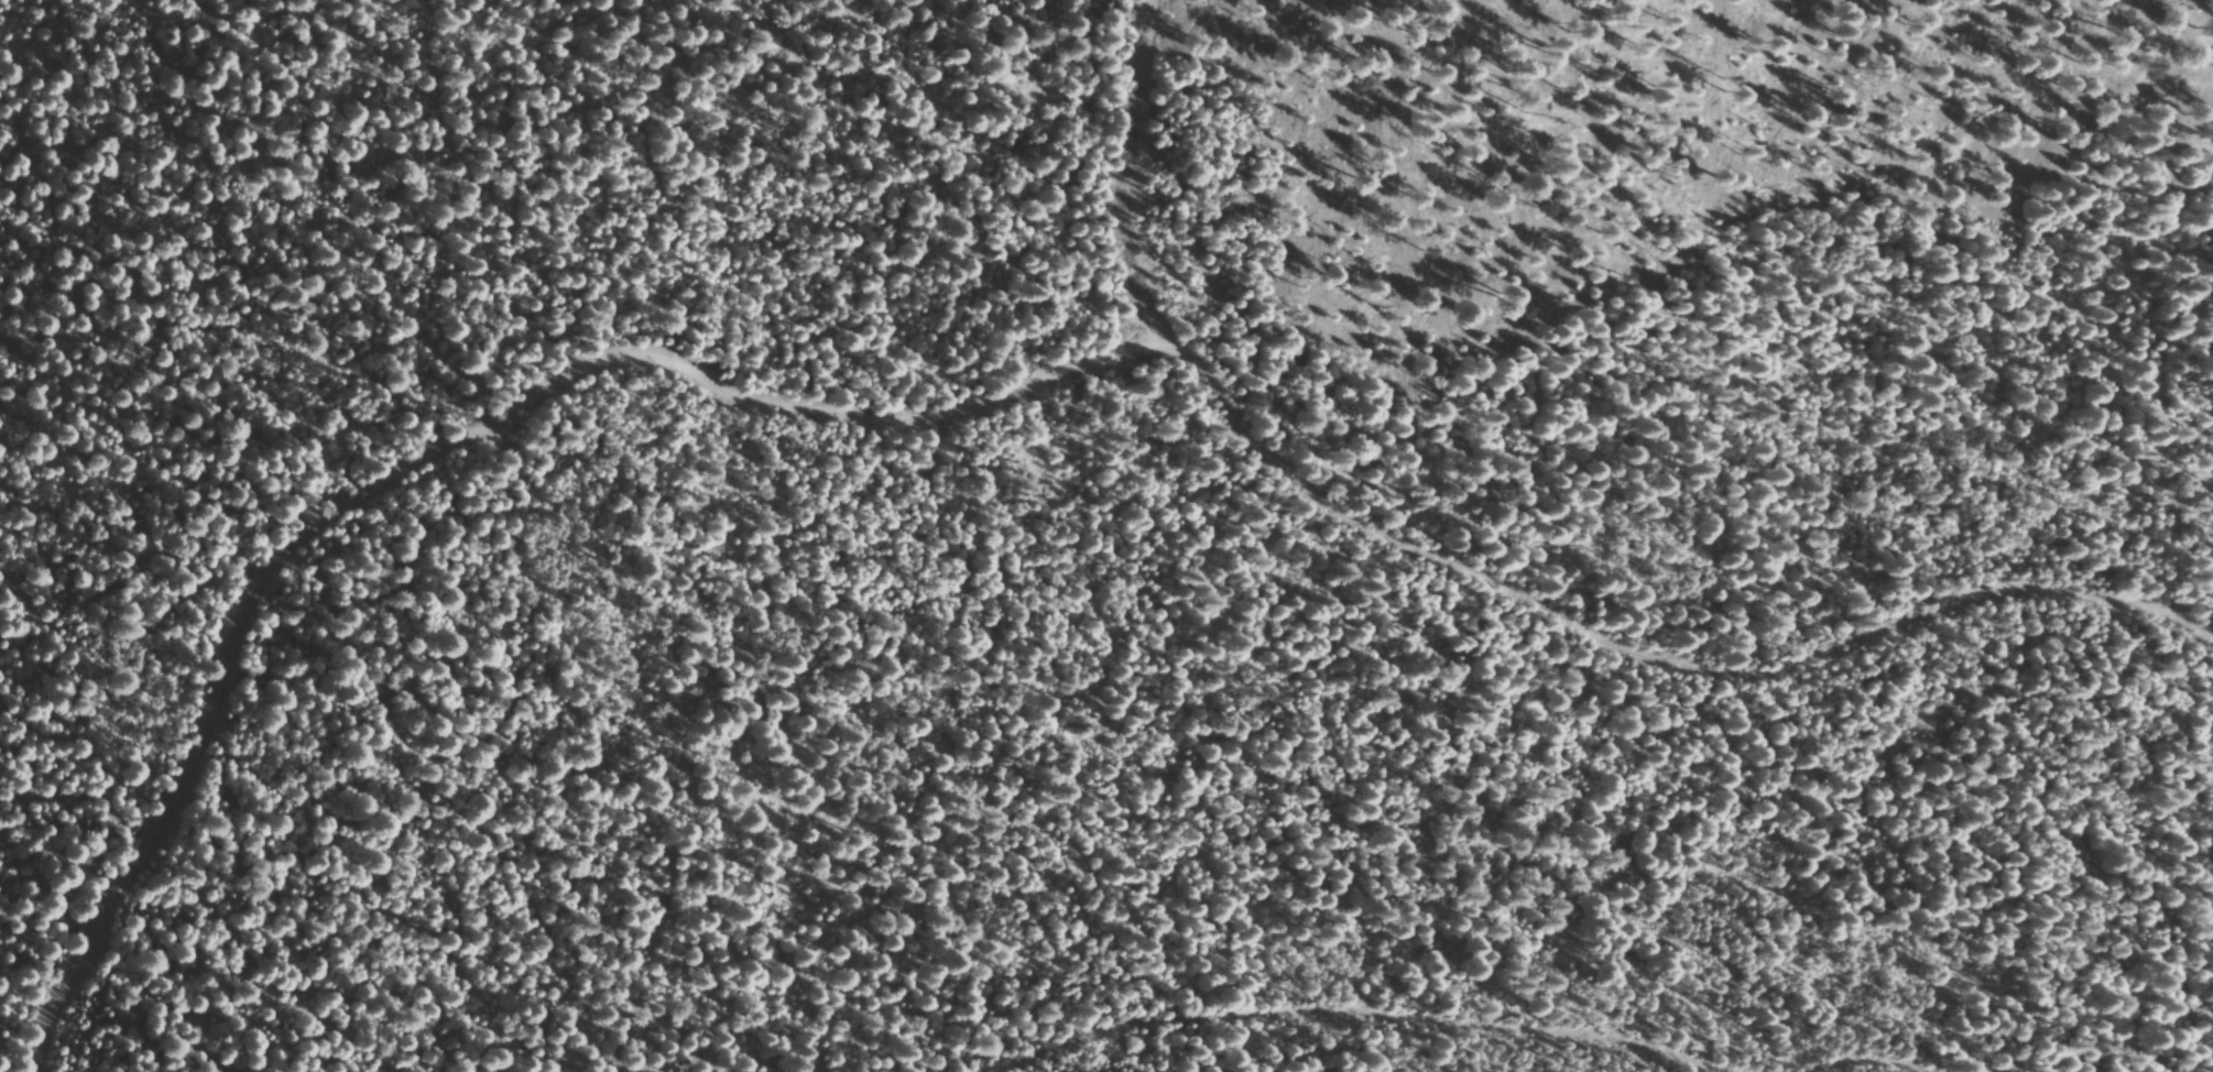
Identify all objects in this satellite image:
road: (48, 116)
road: (1144, 147)
road: (449, 453)
road: (1629, 590)
road: (1468, 983)

